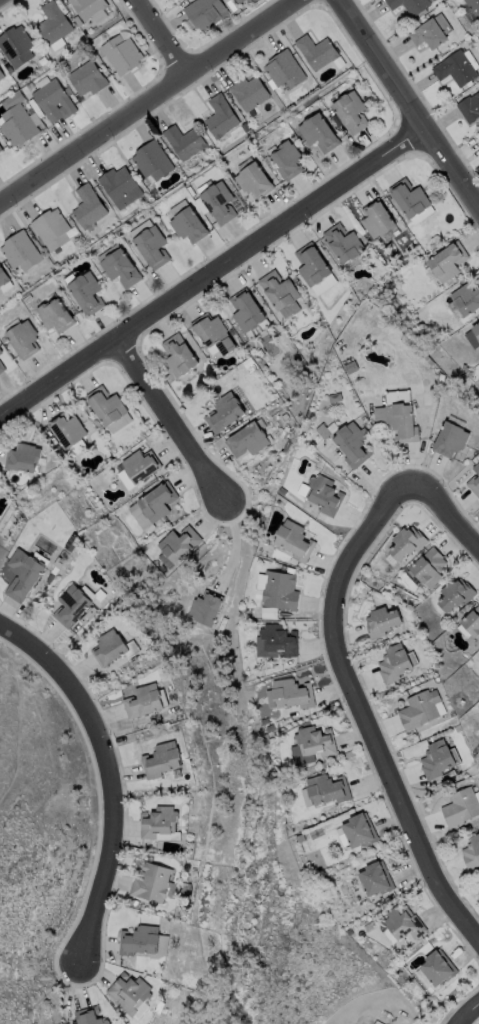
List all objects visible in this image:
building: (239, 0)
building: (410, 4)
building: (474, 7)
building: (91, 9)
building: (206, 11)
building: (53, 26)
building: (432, 30)
road: (160, 37)
building: (15, 46)
building: (316, 50)
building: (123, 54)
building: (457, 67)
building: (284, 68)
building: (1, 74)
building: (89, 78)
building: (250, 91)
road: (151, 98)
building: (55, 99)
building: (470, 107)
road: (402, 109)
building: (350, 111)
building: (221, 115)
building: (19, 124)
building: (320, 131)
building: (478, 139)
building: (183, 141)
building: (1, 148)
building: (288, 157)
building: (152, 160)
building: (254, 178)
building: (119, 186)
building: (409, 196)
building: (218, 199)
building: (88, 206)
building: (378, 216)
building: (188, 221)
building: (51, 227)
building: (344, 241)
building: (150, 243)
building: (20, 250)
building: (449, 260)
building: (312, 263)
building: (119, 265)
road: (208, 276)
building: (3, 277)
building: (87, 292)
building: (281, 292)
building: (467, 297)
building: (246, 311)
building: (55, 315)
building: (213, 331)
building: (473, 336)
building: (24, 338)
building: (0, 351)
building: (0, 353)
building: (179, 353)
building: (1, 367)
building: (336, 397)
building: (106, 405)
building: (223, 411)
building: (399, 420)
road: (175, 423)
building: (66, 429)
building: (324, 430)
building: (451, 438)
building: (247, 439)
building: (354, 443)
building: (75, 448)
building: (22, 457)
building: (140, 465)
building: (474, 481)
building: (322, 493)
road: (440, 493)
building: (152, 505)
building: (295, 539)
building: (406, 541)
building: (176, 545)
building: (428, 565)
building: (23, 574)
building: (277, 589)
building: (456, 592)
building: (71, 605)
building: (204, 608)
building: (381, 619)
building: (472, 620)
building: (276, 641)
building: (109, 647)
building: (394, 661)
building: (292, 693)
building: (143, 701)
building: (419, 708)
road: (367, 712)
building: (315, 739)
building: (436, 759)
building: (162, 760)
road: (111, 774)
building: (327, 788)
building: (461, 805)
building: (155, 821)
building: (358, 830)
building: (471, 851)
building: (375, 878)
building: (150, 882)
building: (403, 923)
building: (138, 940)
building: (437, 966)
building: (127, 993)
road: (465, 1012)
building: (87, 1016)

